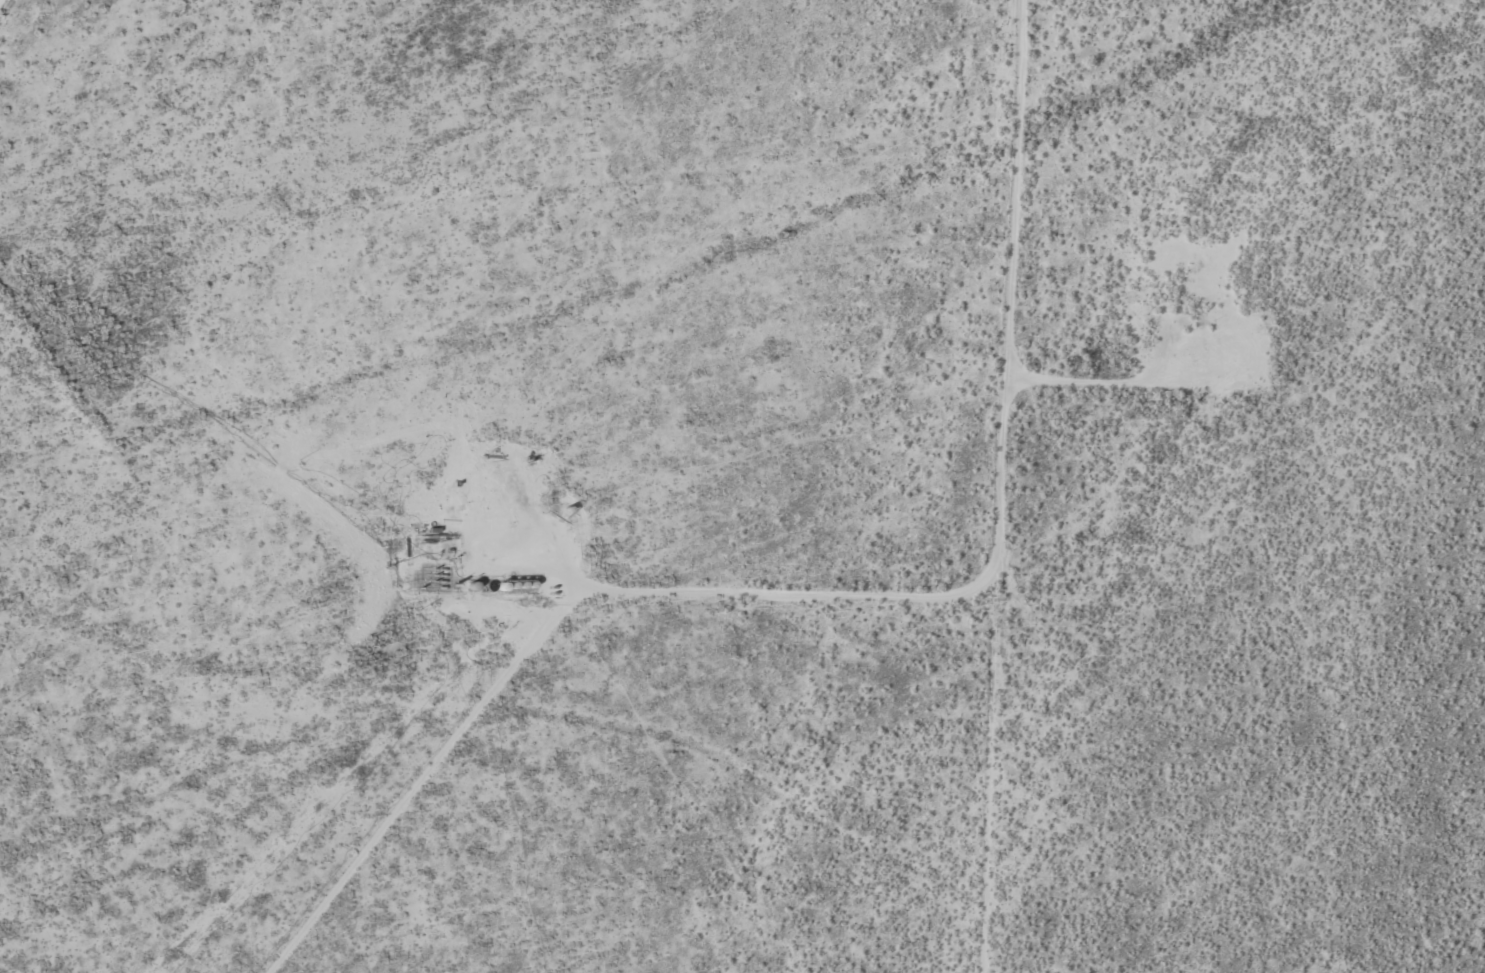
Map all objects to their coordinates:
road: (999, 486)

